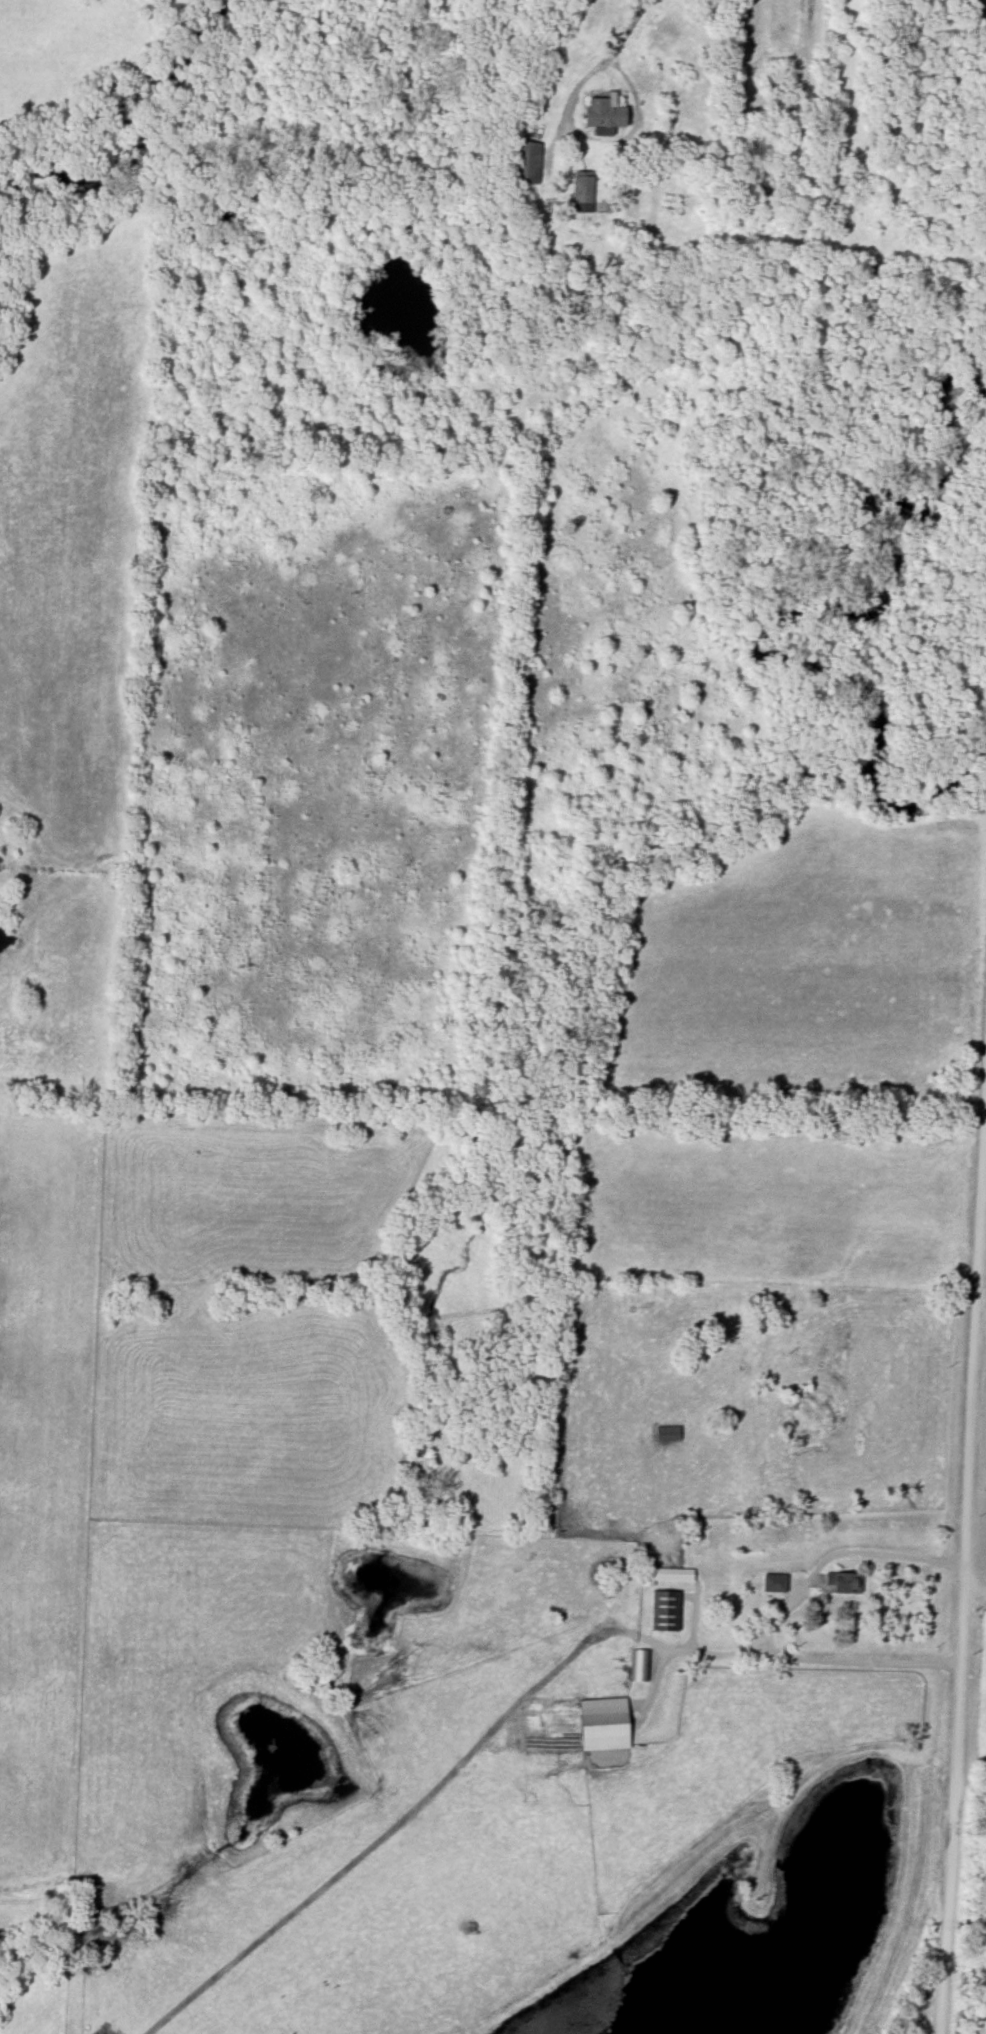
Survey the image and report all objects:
road: (609, 50)
building: (605, 114)
building: (526, 163)
building: (583, 192)
road: (981, 1312)
building: (668, 1434)
road: (963, 1567)
building: (664, 1575)
building: (775, 1583)
building: (847, 1583)
road: (974, 1583)
building: (665, 1611)
road: (774, 1618)
road: (685, 1645)
building: (638, 1666)
building: (605, 1725)

